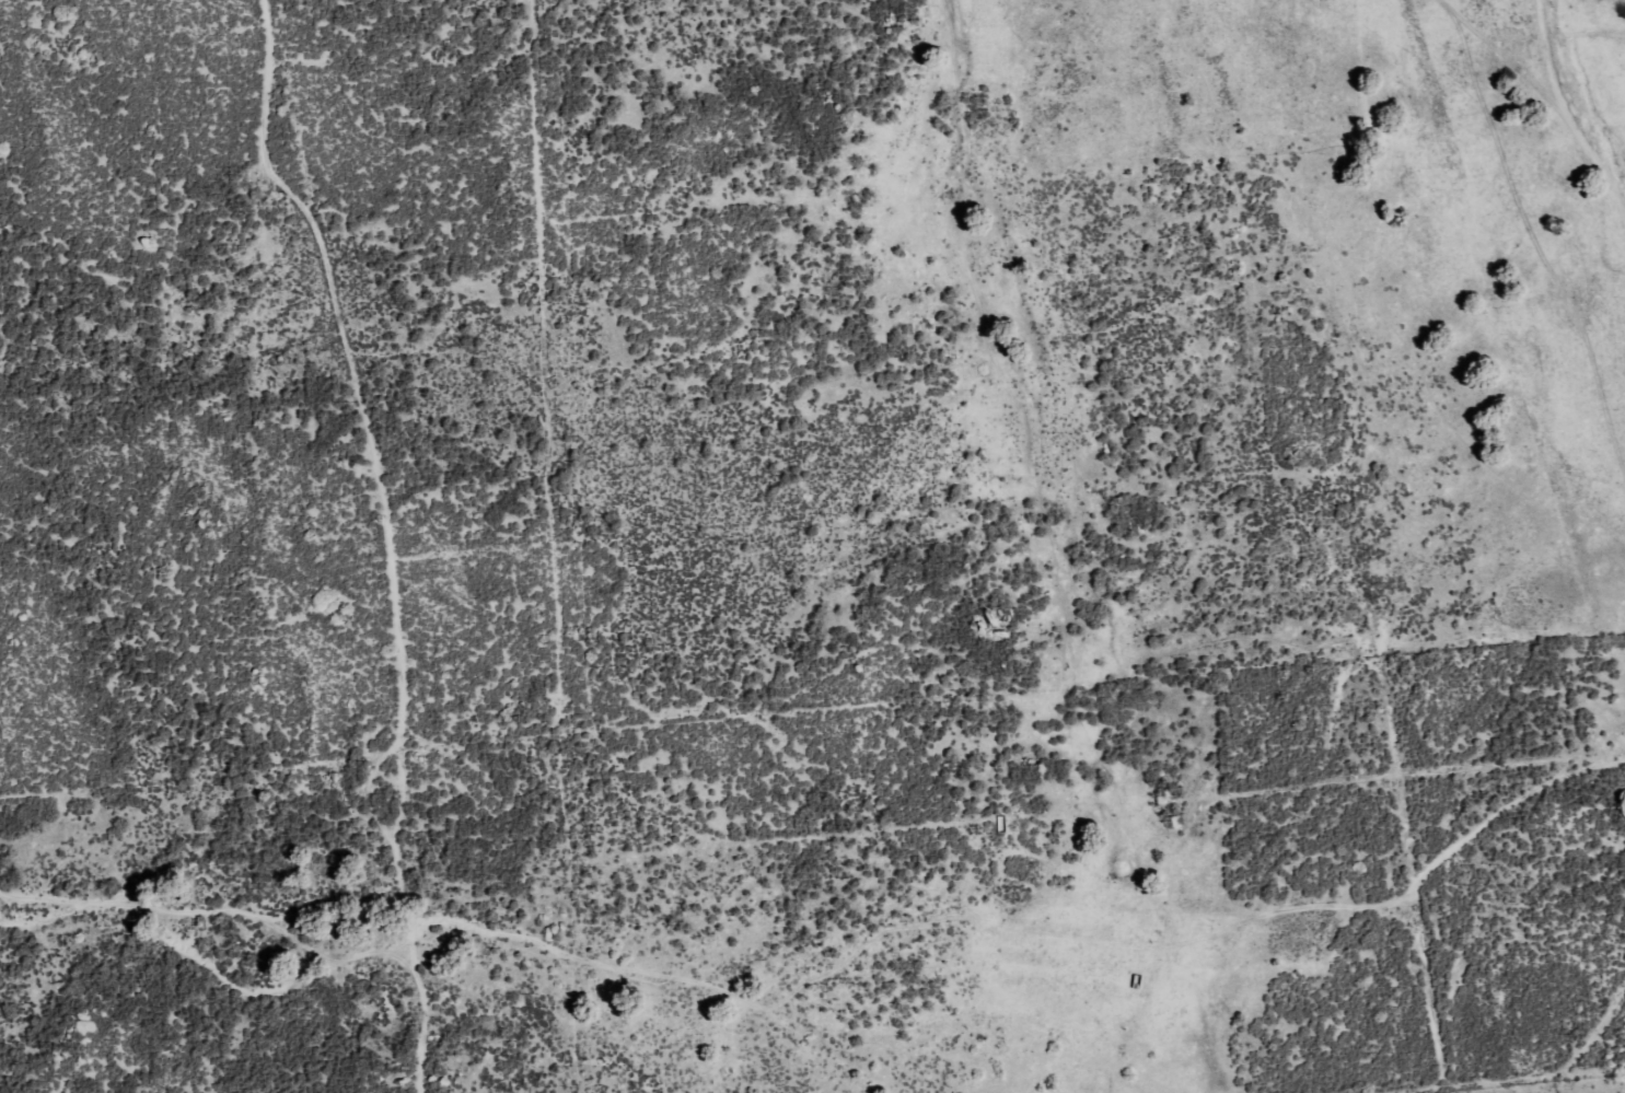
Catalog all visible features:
road: (1544, 42)

